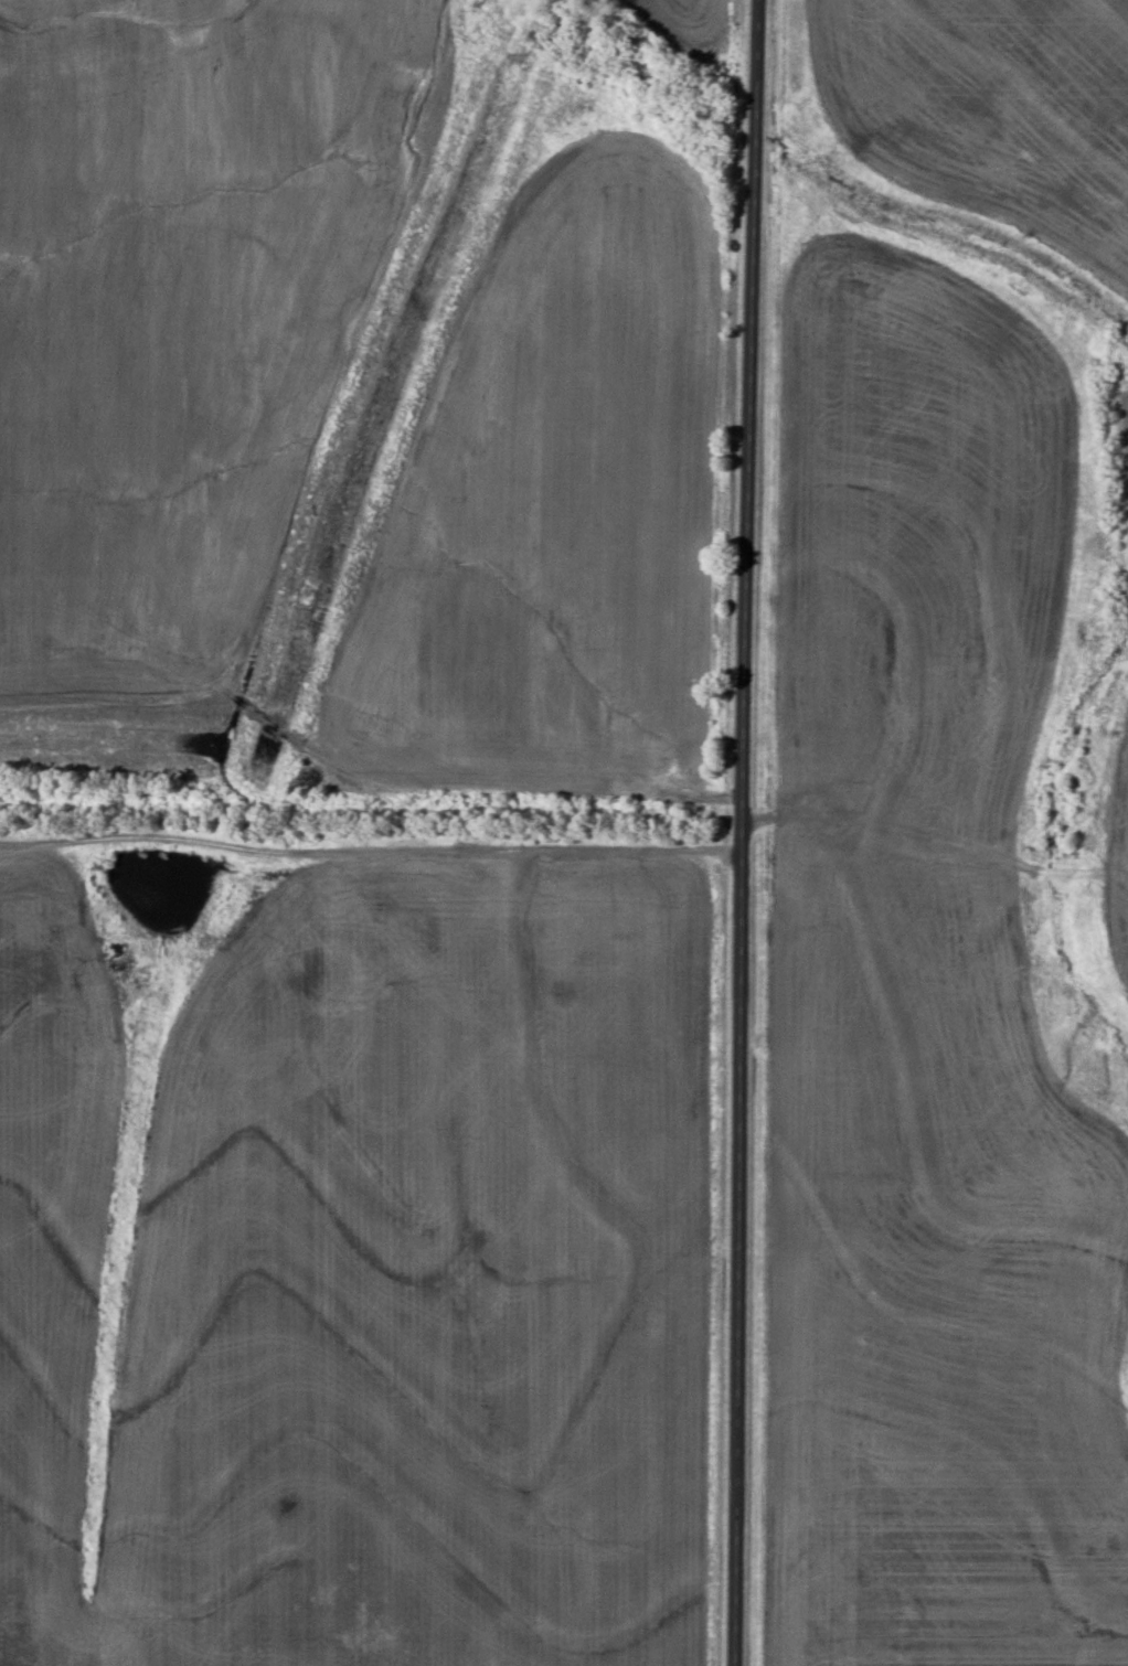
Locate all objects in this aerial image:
road: (752, 832)

